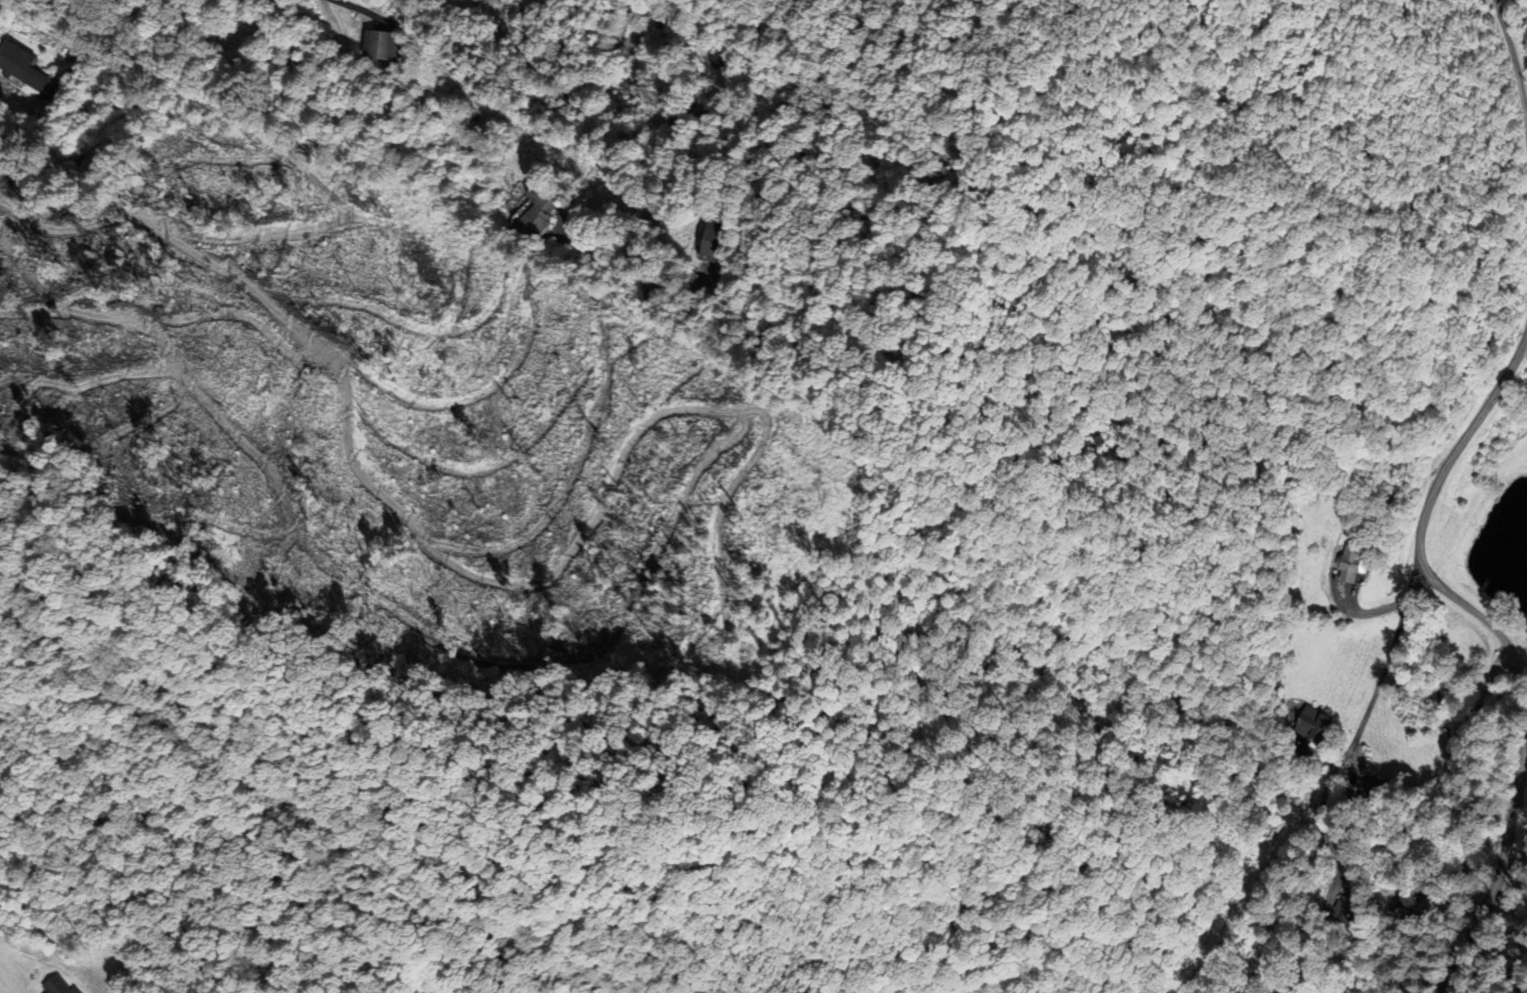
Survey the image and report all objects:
road: (44, 26)
building: (371, 46)
building: (24, 64)
road: (69, 69)
road: (534, 83)
road: (661, 138)
building: (527, 216)
building: (703, 243)
road: (1420, 526)
building: (1351, 563)
road: (1364, 714)
building: (1314, 723)
road: (1501, 873)
building: (61, 985)

